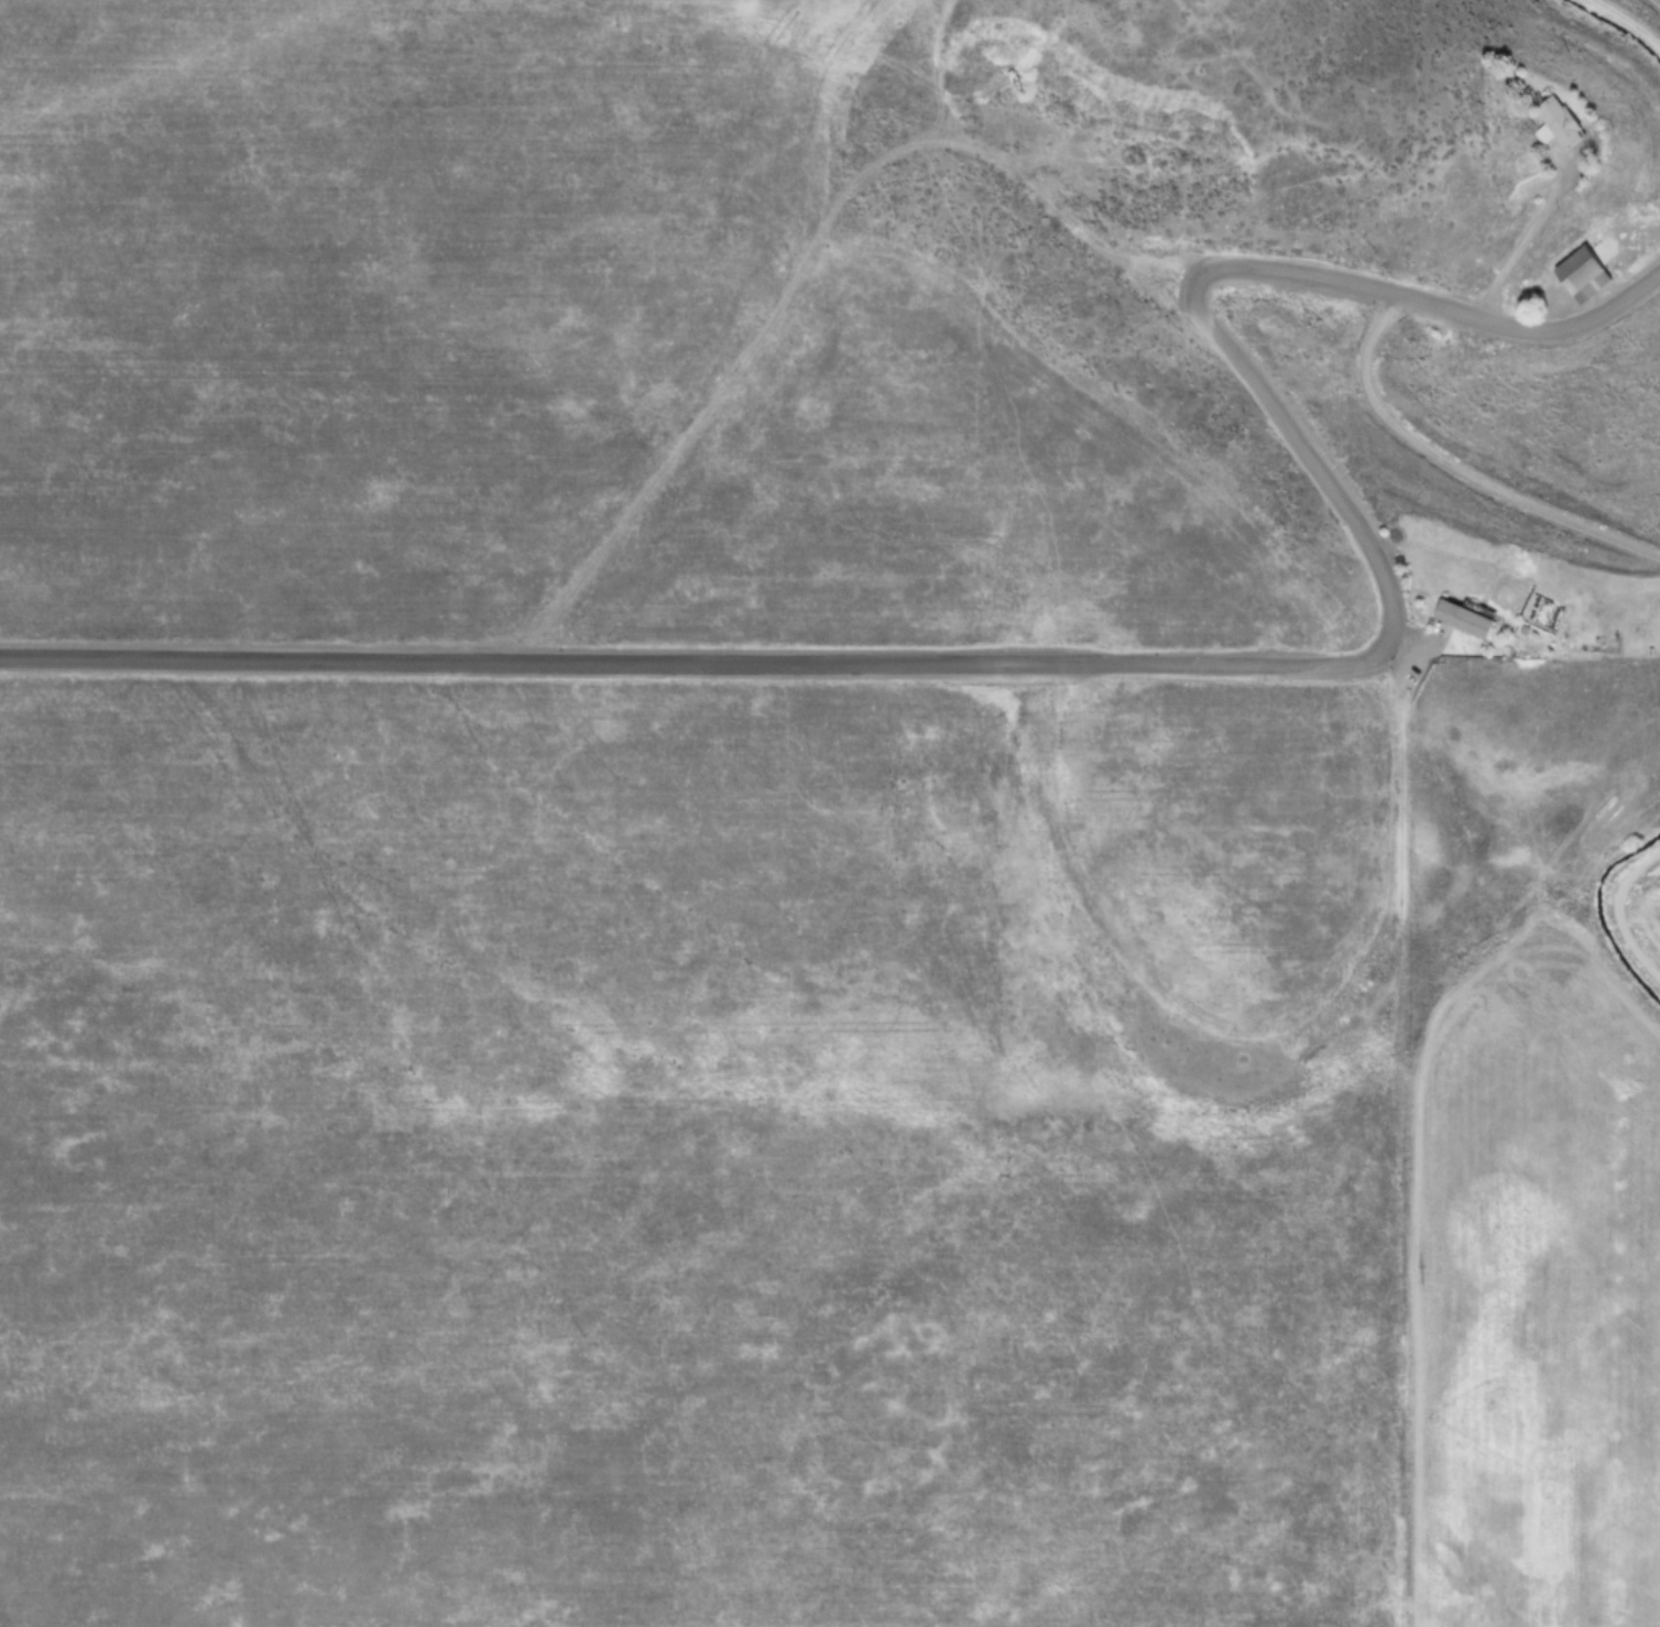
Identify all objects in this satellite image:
building: (1552, 121)
road: (1527, 231)
building: (1579, 272)
road: (1454, 467)
building: (1460, 616)
road: (1408, 637)
road: (1155, 662)
road: (1616, 910)

